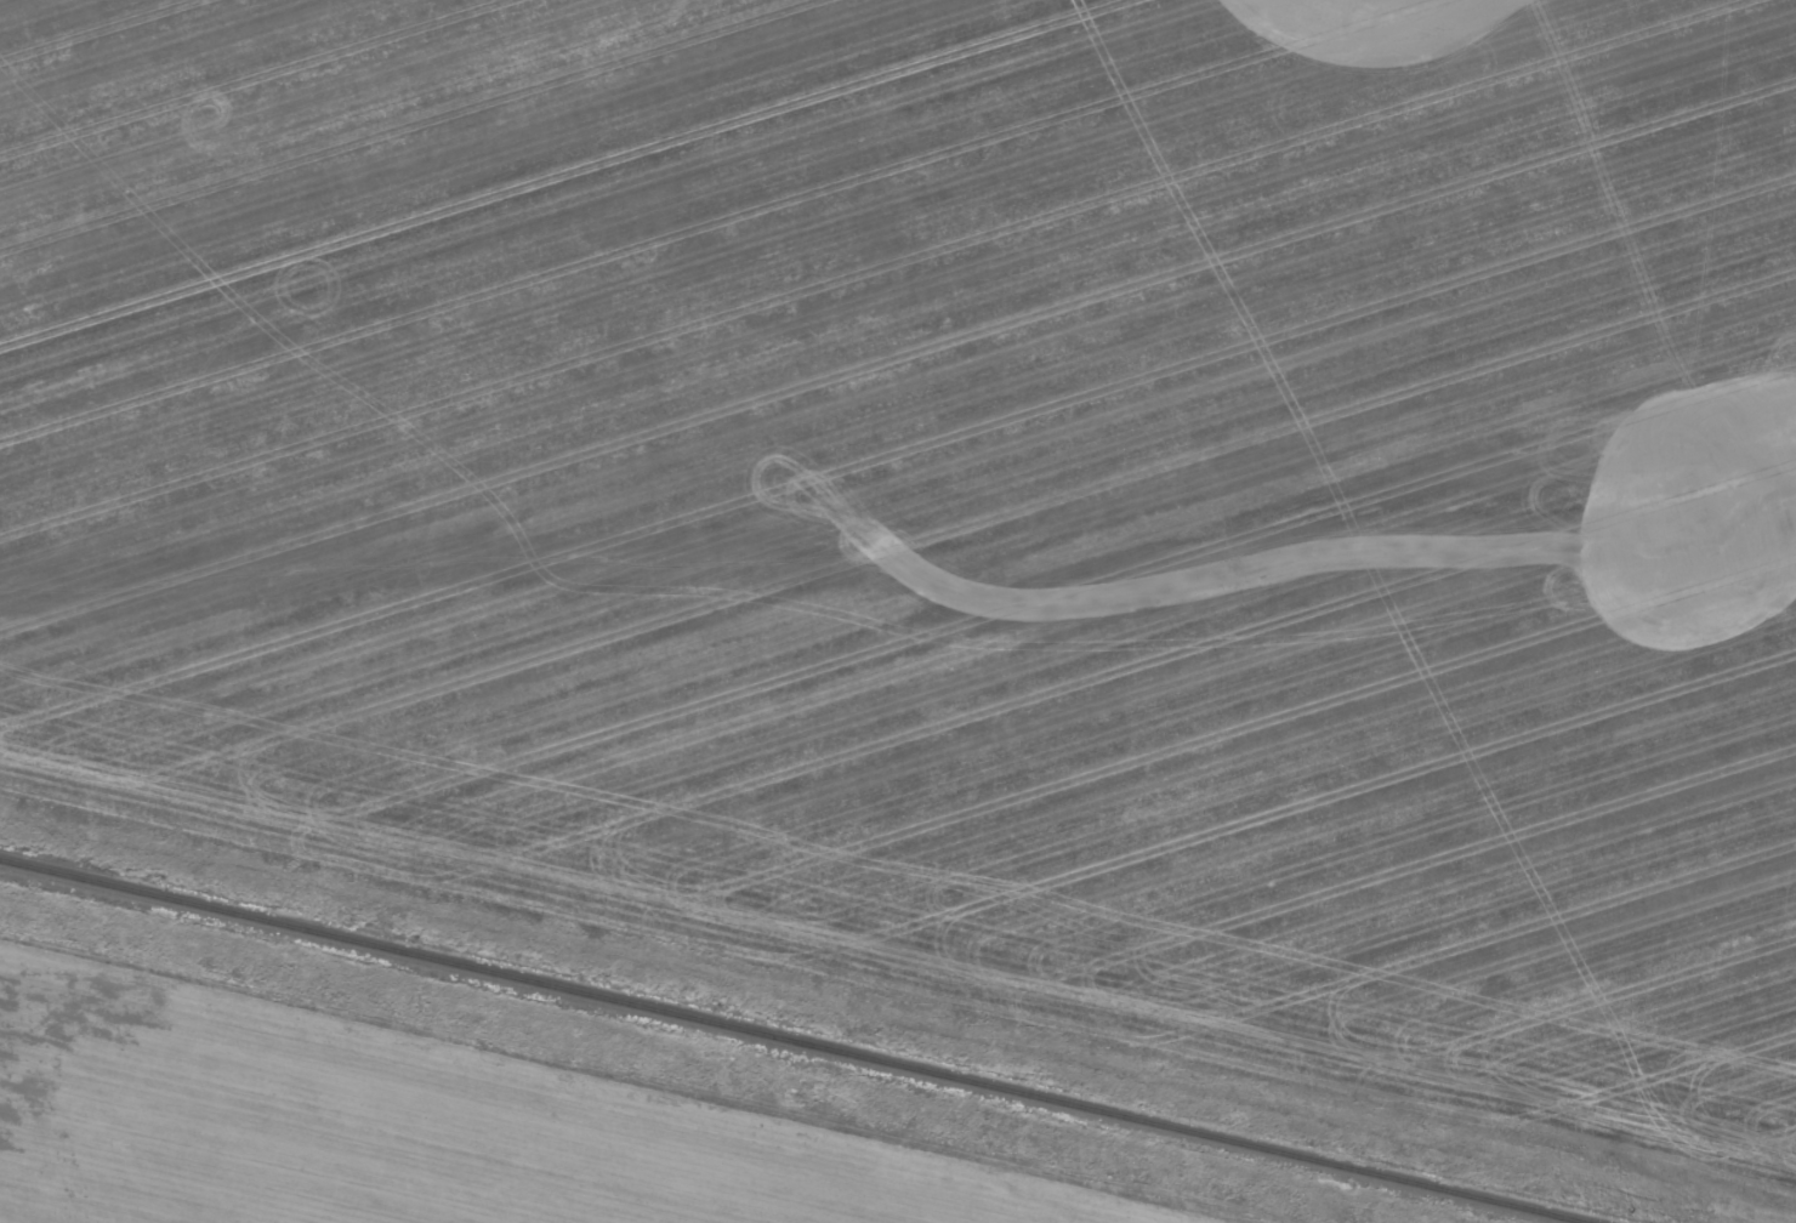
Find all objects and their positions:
railway: (791, 1041)

